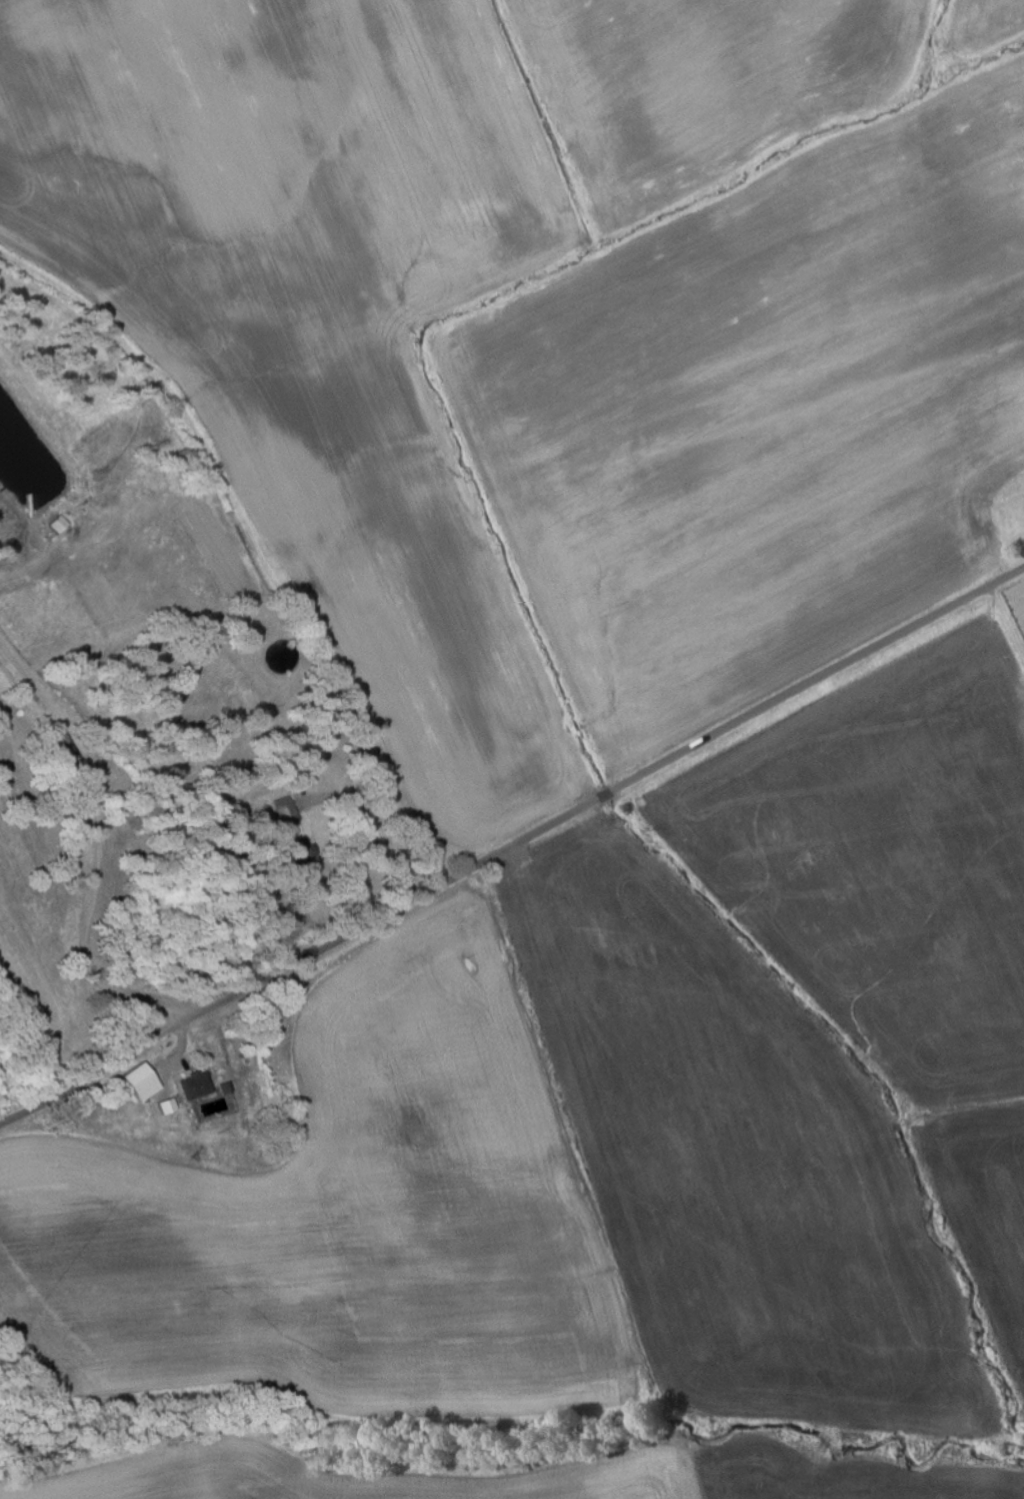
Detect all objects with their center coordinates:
building: (59, 525)
building: (285, 811)
road: (373, 828)
road: (512, 847)
road: (95, 850)
building: (301, 860)
building: (137, 1082)
building: (192, 1085)
building: (165, 1106)

